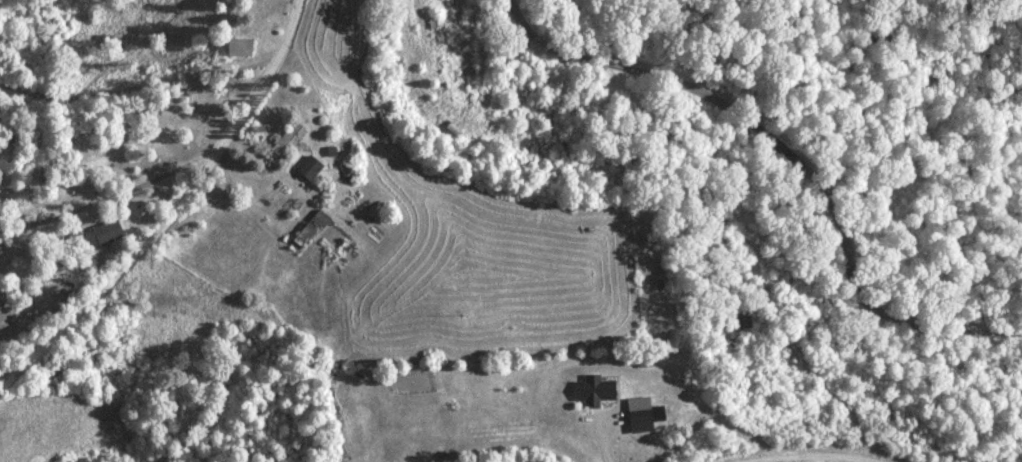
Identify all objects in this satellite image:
road: (797, 138)
building: (289, 140)
building: (311, 169)
road: (175, 213)
building: (312, 229)
building: (109, 233)
building: (598, 392)
building: (642, 417)

